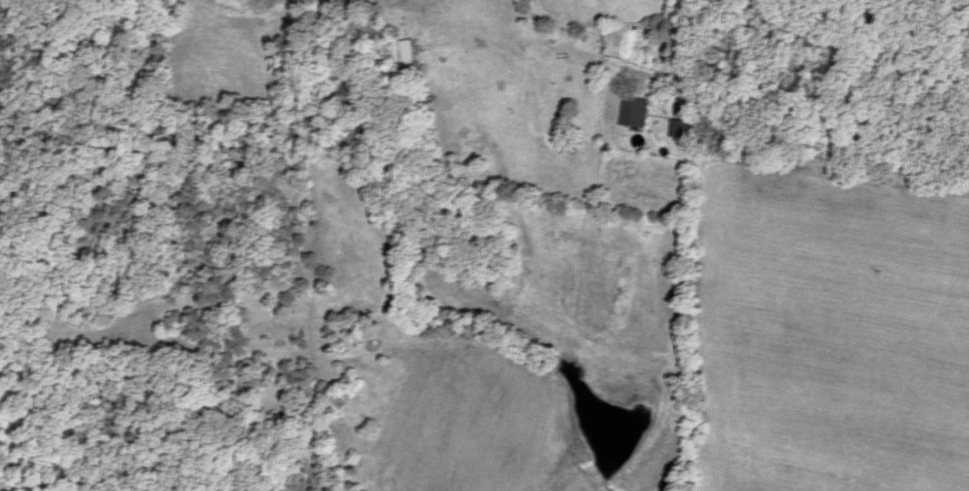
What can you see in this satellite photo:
road: (682, 6)
building: (634, 113)
building: (679, 130)
building: (474, 140)

